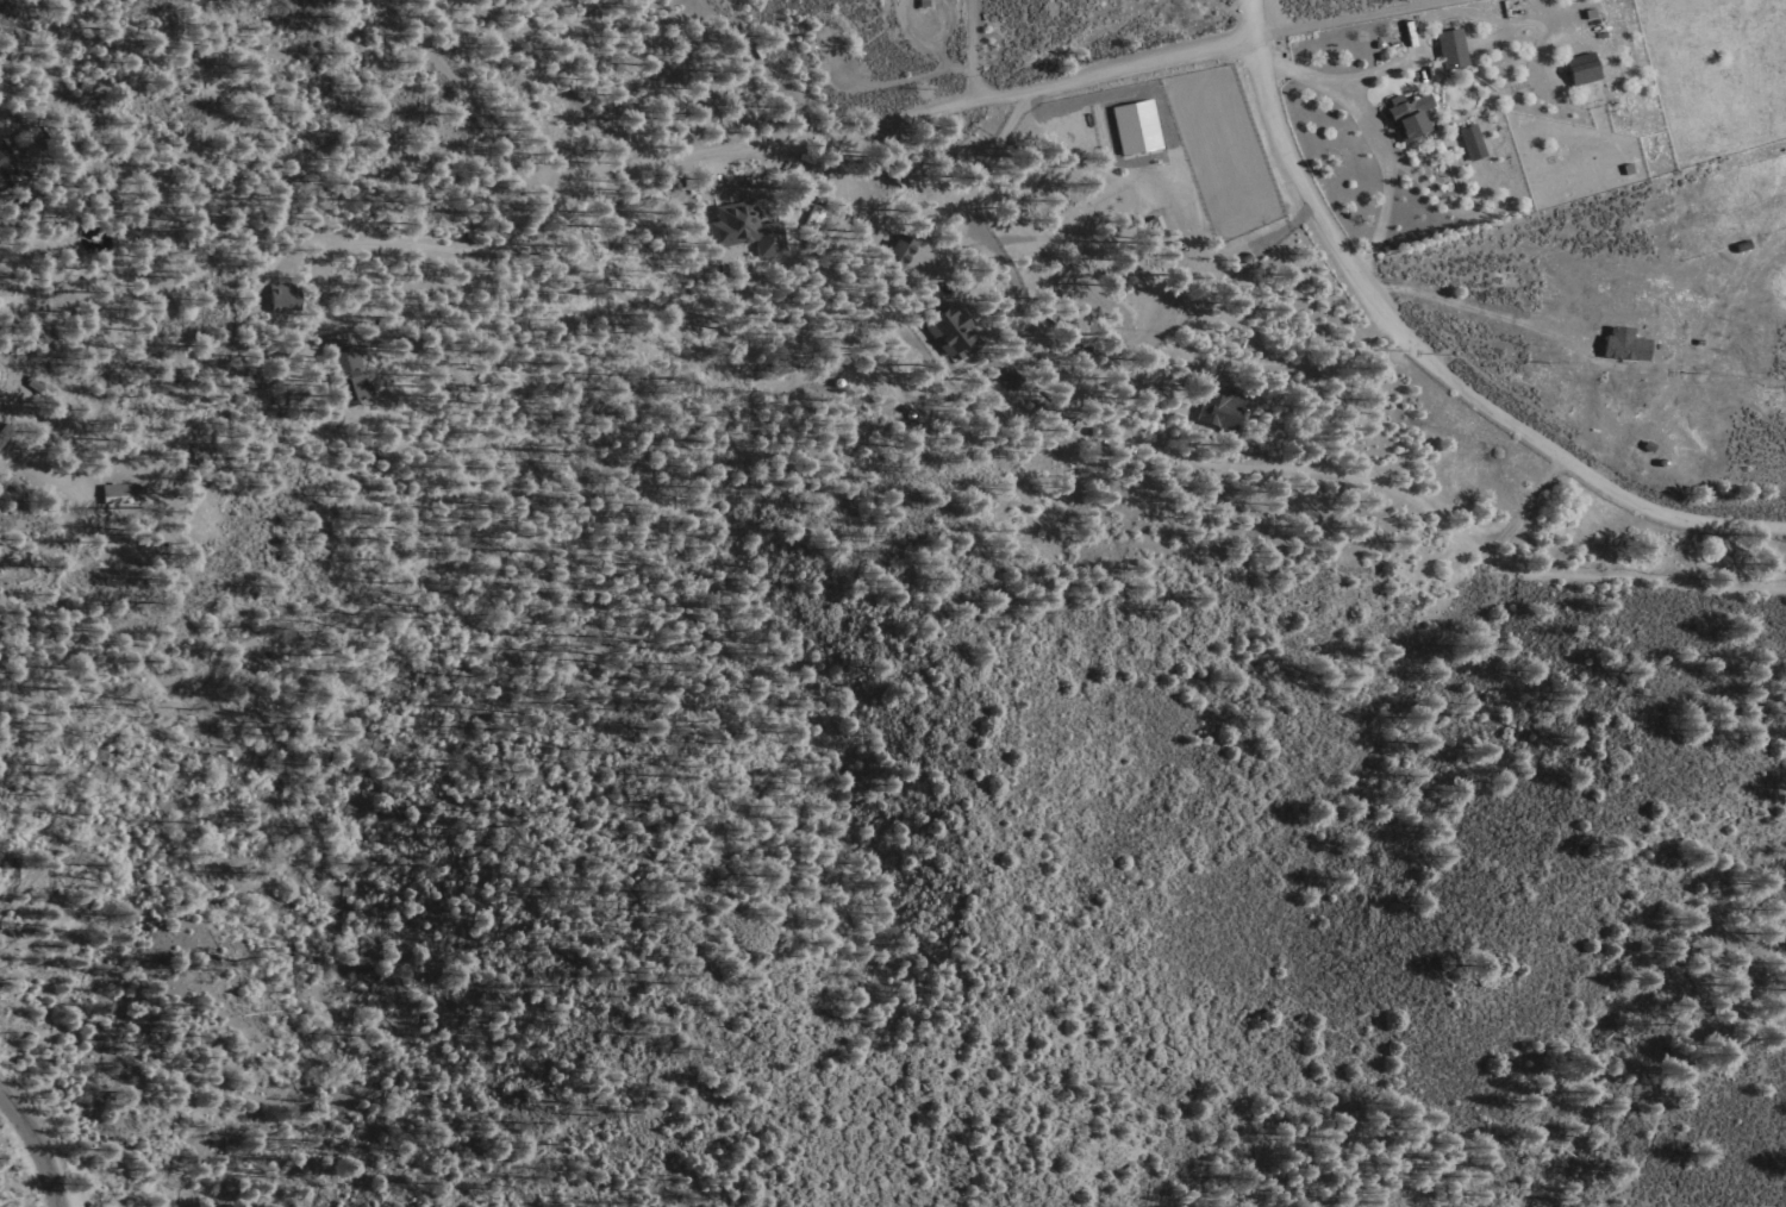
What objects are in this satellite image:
road: (1443, 14)
road: (1362, 21)
building: (1449, 49)
road: (974, 51)
building: (1580, 69)
building: (1405, 117)
road: (907, 119)
building: (1135, 125)
road: (1375, 138)
building: (1468, 143)
building: (7, 167)
road: (50, 167)
road: (769, 177)
road: (1445, 205)
building: (753, 229)
road: (982, 234)
road: (366, 245)
road: (953, 248)
building: (905, 249)
building: (288, 296)
road: (1476, 312)
building: (958, 332)
building: (1630, 345)
road: (1426, 358)
building: (348, 362)
building: (1012, 379)
road: (1268, 394)
building: (1224, 409)
building: (127, 495)
road: (1525, 508)
road: (1456, 534)
road: (39, 1145)
road: (63, 1203)

